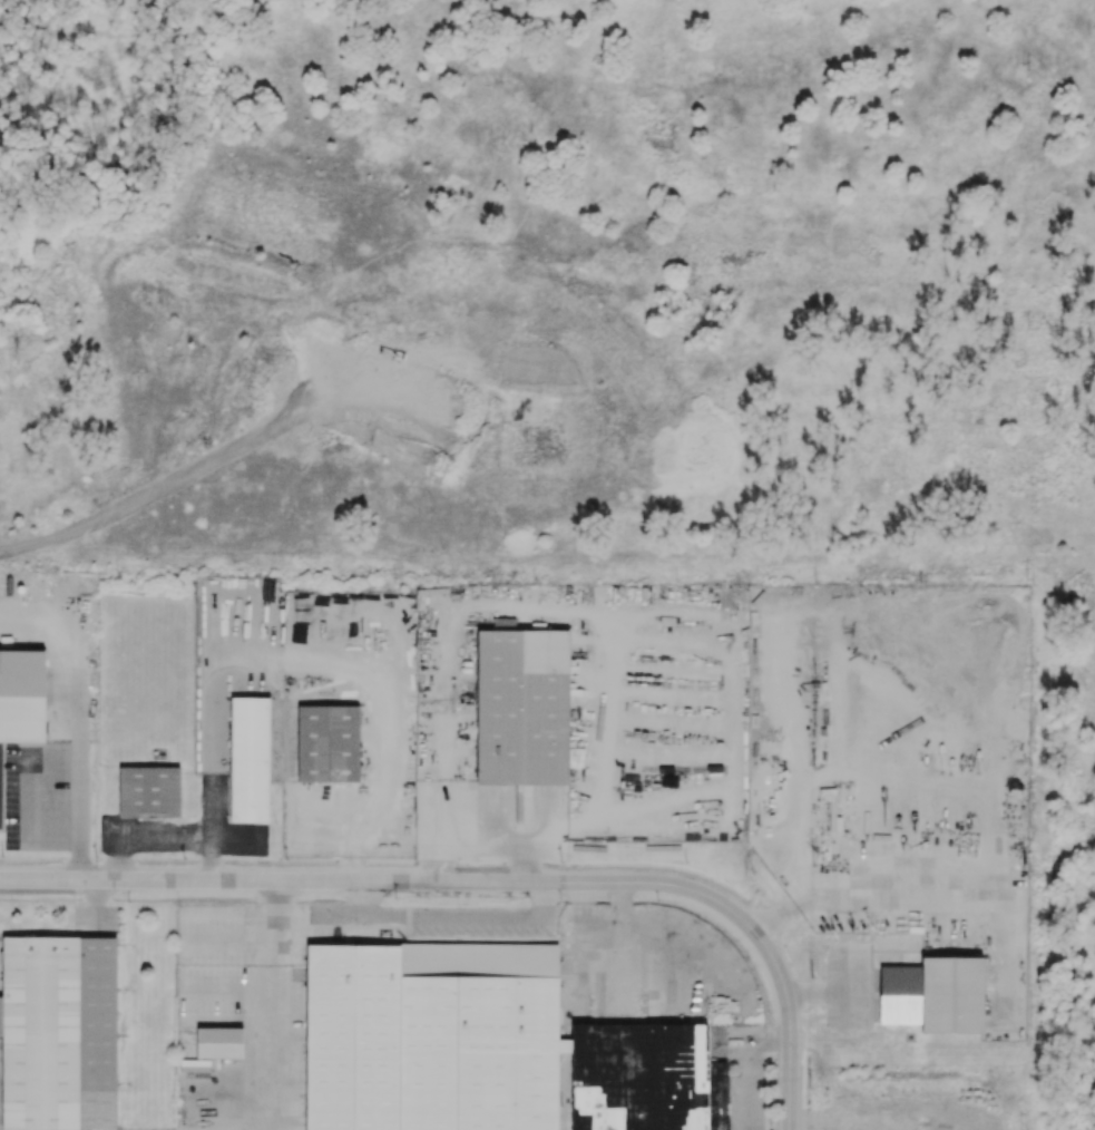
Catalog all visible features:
road: (224, 452)
road: (310, 664)
building: (21, 701)
building: (522, 708)
road: (78, 718)
building: (329, 744)
building: (250, 760)
building: (149, 792)
parking lot: (37, 797)
road: (31, 798)
road: (383, 881)
road: (95, 906)
parking lot: (96, 922)
road: (456, 923)
road: (622, 931)
road: (849, 971)
parking lot: (850, 986)
road: (818, 992)
building: (935, 995)
road: (280, 1005)
road: (848, 1010)
road: (790, 1025)
building: (59, 1034)
building: (431, 1036)
building: (646, 1079)

